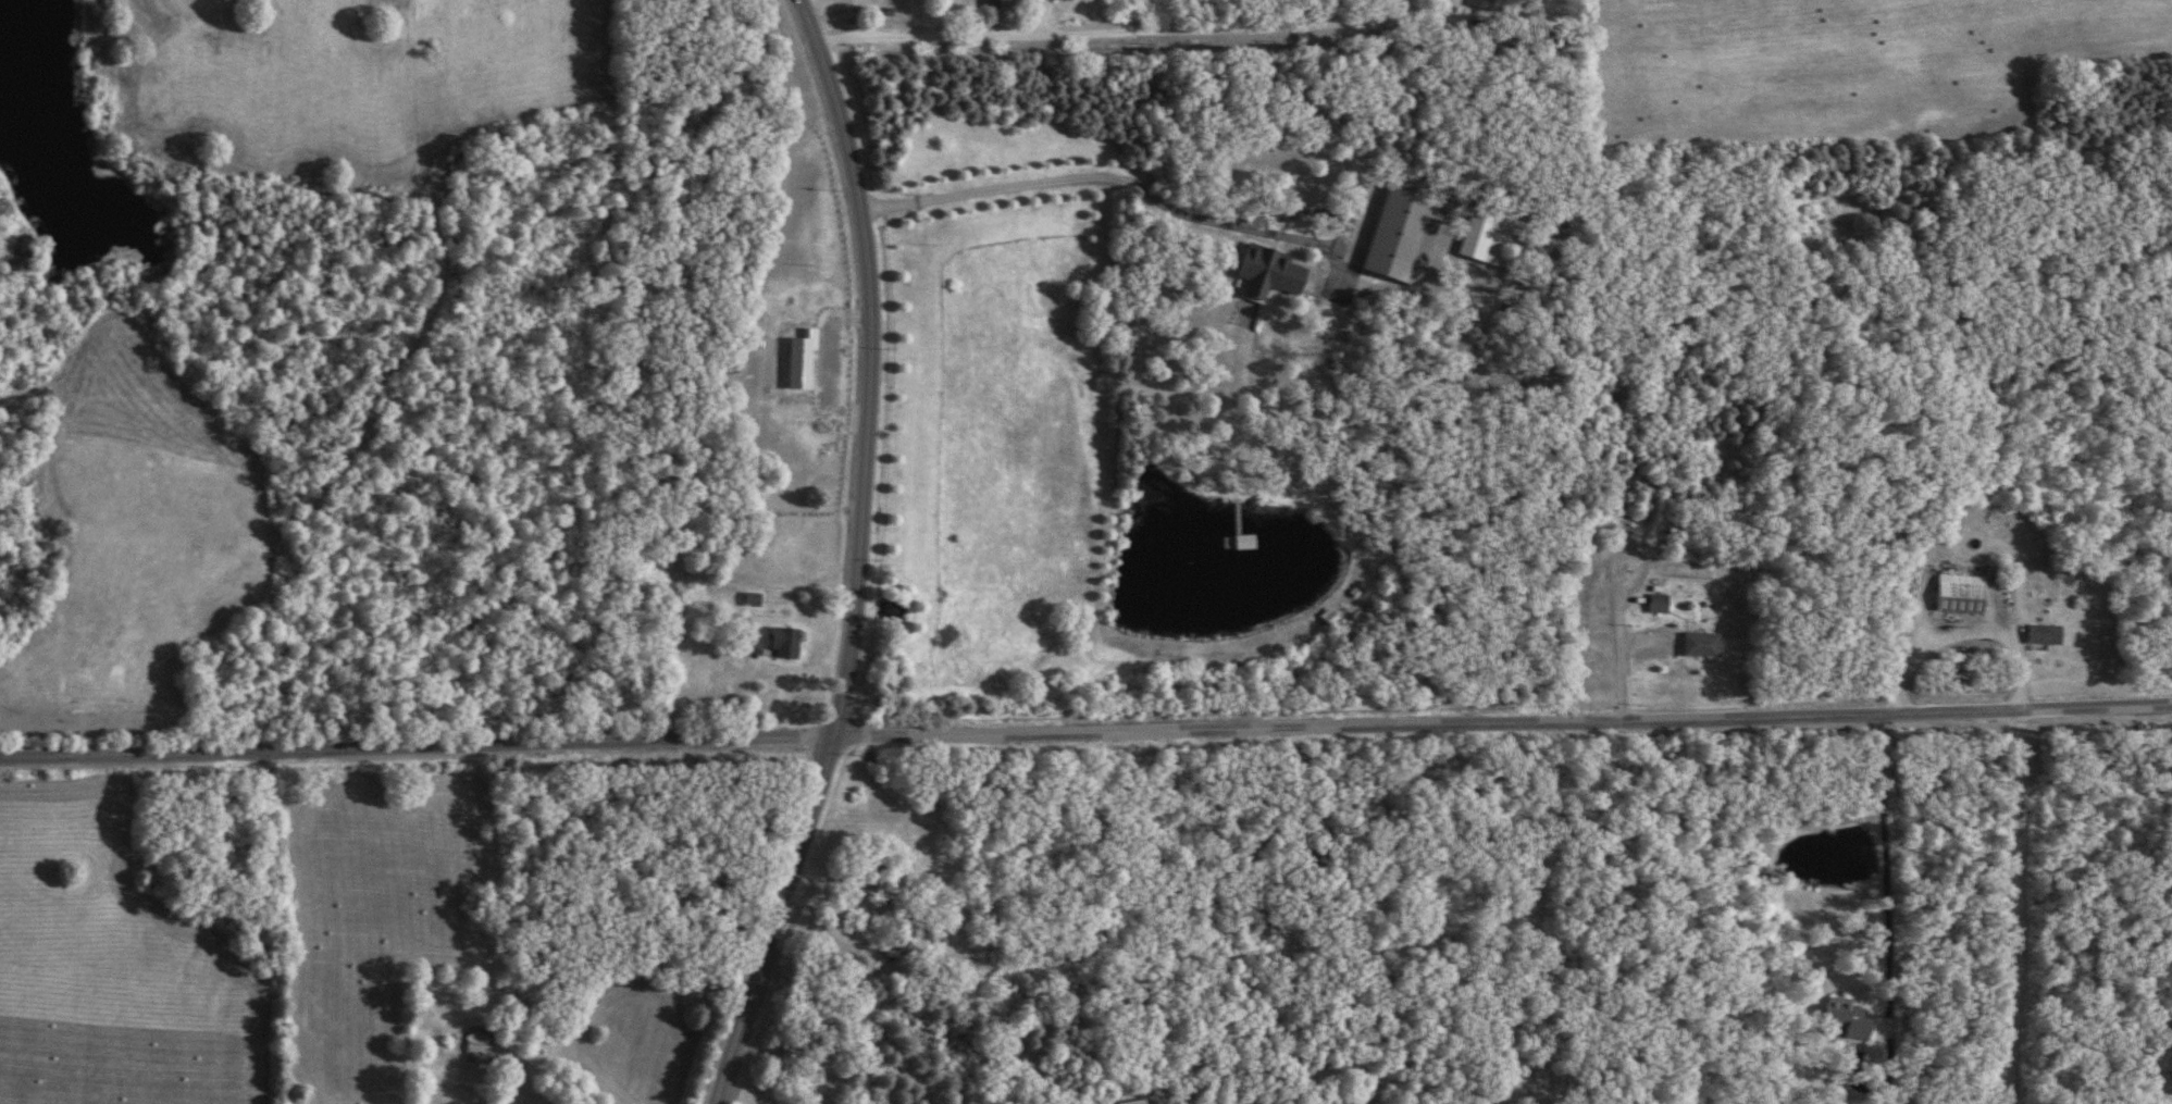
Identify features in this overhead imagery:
building: (1477, 4)
road: (1041, 16)
road: (1116, 30)
road: (1163, 203)
building: (1389, 232)
building: (1267, 272)
road: (868, 364)
building: (1239, 542)
building: (1954, 593)
building: (1655, 603)
building: (2039, 634)
building: (769, 640)
building: (1697, 644)
road: (1501, 718)
road: (414, 747)
road: (2005, 904)
road: (771, 919)
road: (1886, 946)
building: (1845, 1018)
building: (476, 1044)
road: (2140, 1100)

